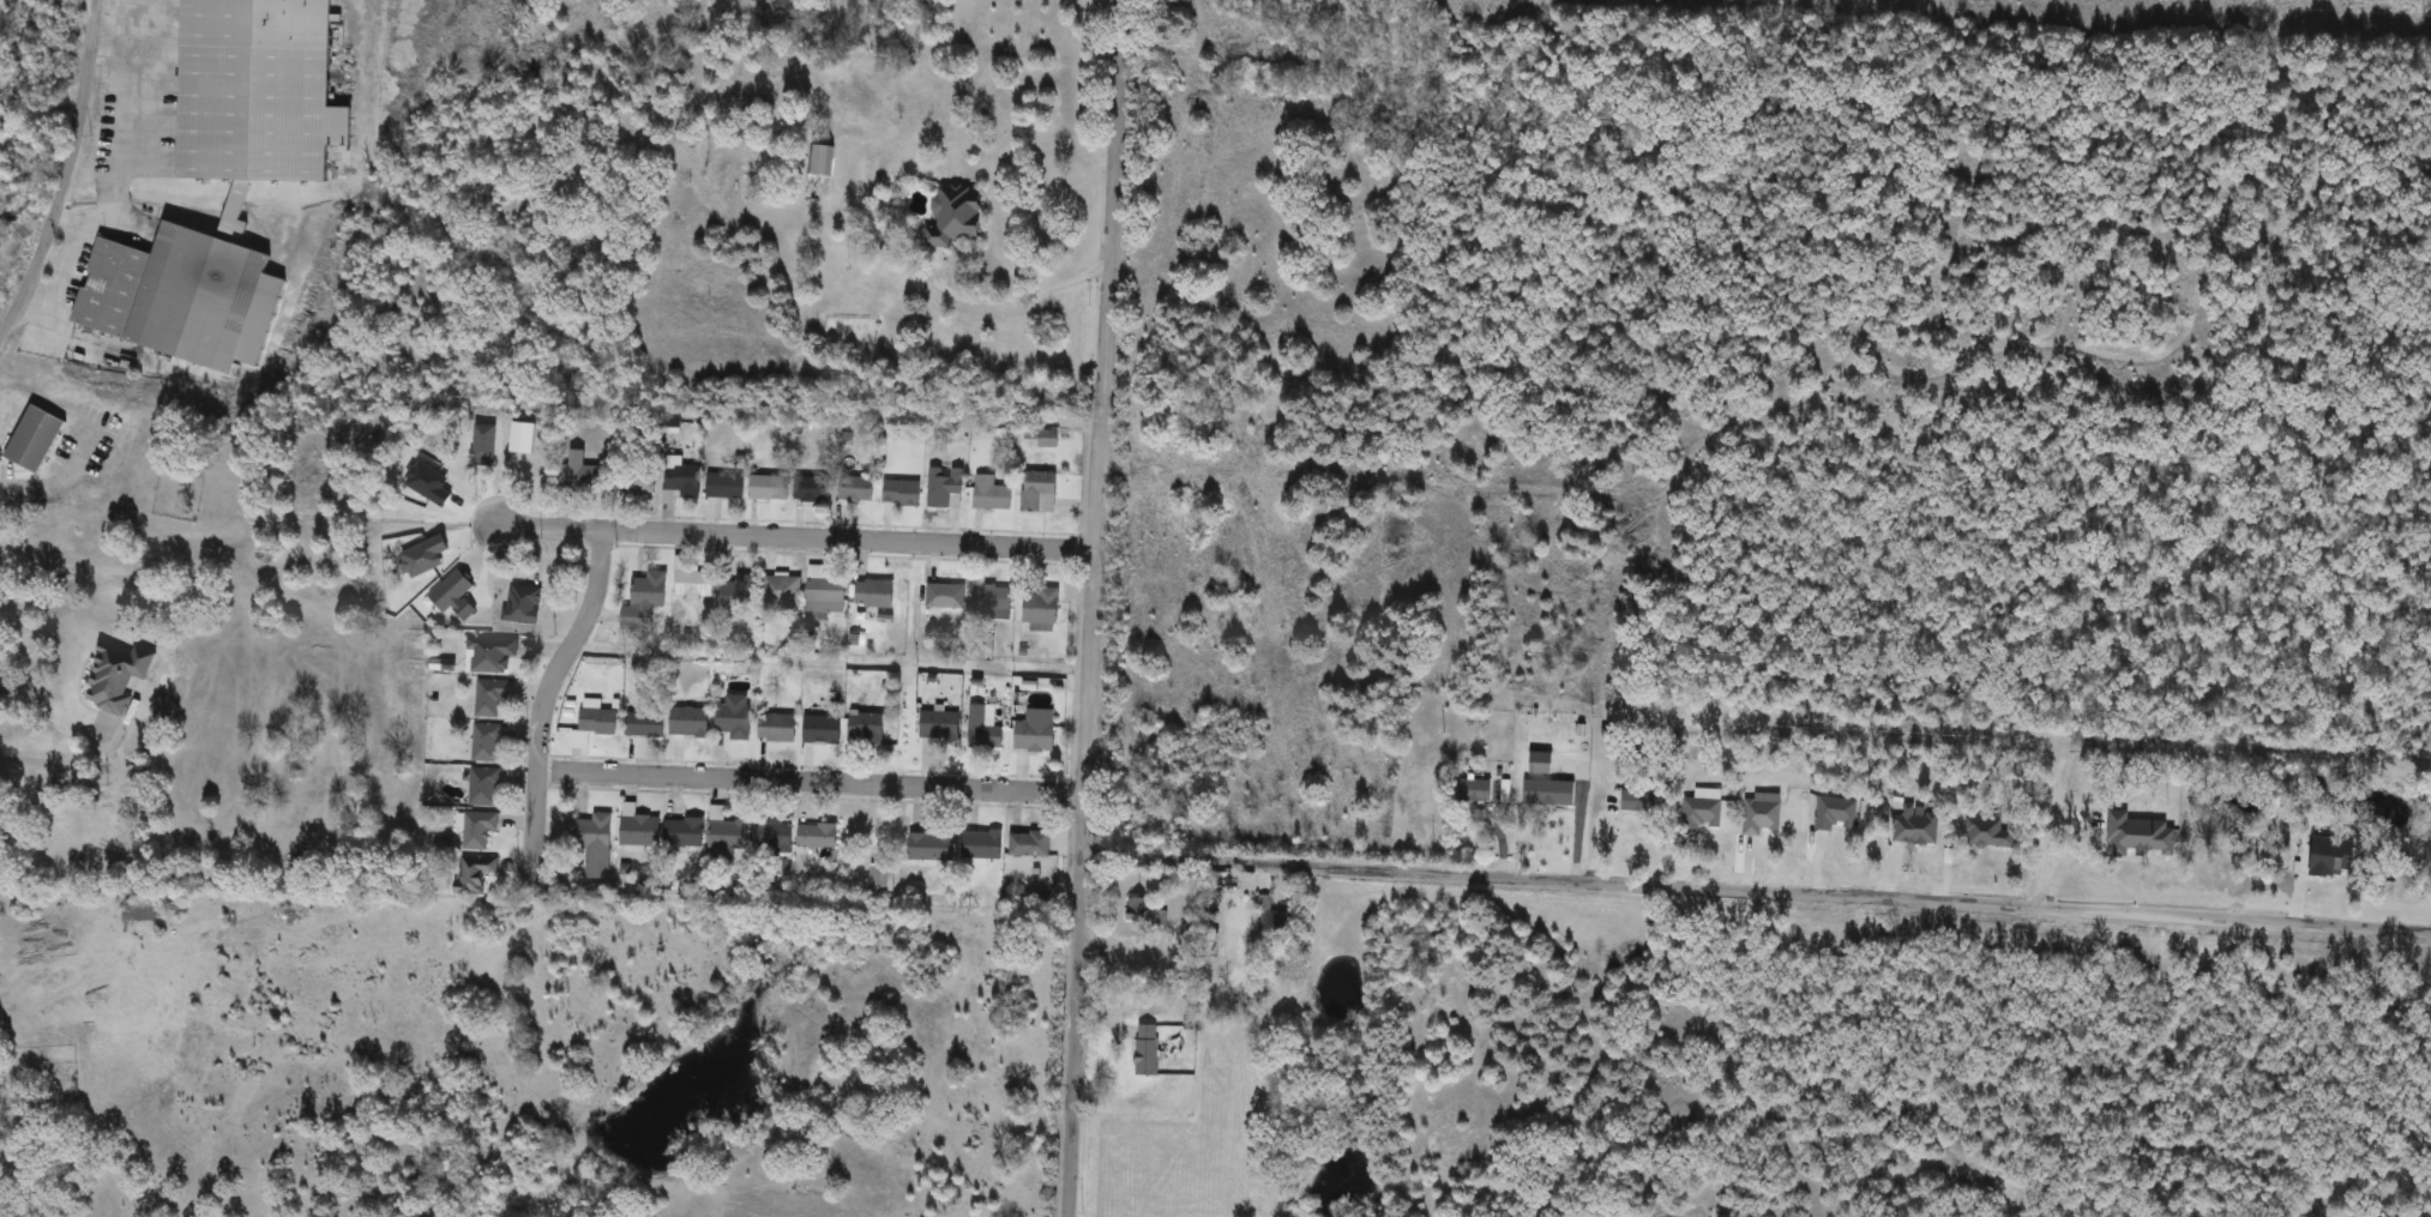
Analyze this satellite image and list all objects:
power tower: (2424, 5)
building: (259, 90)
building: (826, 159)
road: (64, 168)
building: (957, 216)
road: (981, 252)
building: (180, 291)
building: (1049, 438)
building: (37, 439)
building: (582, 475)
road: (65, 477)
building: (682, 482)
building: (727, 484)
building: (770, 486)
building: (946, 487)
building: (814, 489)
building: (858, 490)
building: (1041, 492)
building: (903, 493)
building: (992, 493)
road: (793, 536)
building: (696, 584)
building: (784, 586)
building: (740, 592)
building: (877, 594)
building: (835, 595)
building: (945, 596)
building: (646, 597)
building: (992, 602)
building: (524, 603)
road: (1087, 608)
building: (1042, 610)
building: (494, 653)
building: (118, 676)
building: (492, 697)
road: (544, 697)
building: (736, 717)
building: (691, 721)
building: (646, 723)
building: (595, 725)
building: (868, 725)
building: (940, 725)
building: (780, 728)
building: (823, 729)
building: (982, 730)
building: (1035, 736)
building: (489, 742)
road: (53, 761)
road: (807, 783)
building: (486, 787)
building: (1476, 791)
building: (1551, 793)
building: (1639, 802)
building: (1704, 811)
building: (1839, 814)
building: (1763, 817)
building: (640, 829)
building: (1915, 829)
building: (480, 830)
building: (686, 832)
building: (1988, 833)
building: (818, 836)
building: (751, 837)
building: (597, 844)
building: (982, 844)
building: (1030, 844)
building: (931, 845)
building: (476, 874)
building: (881, 878)
road: (1751, 893)
building: (1141, 909)
building: (142, 910)
building: (1278, 923)
building: (1148, 1049)

